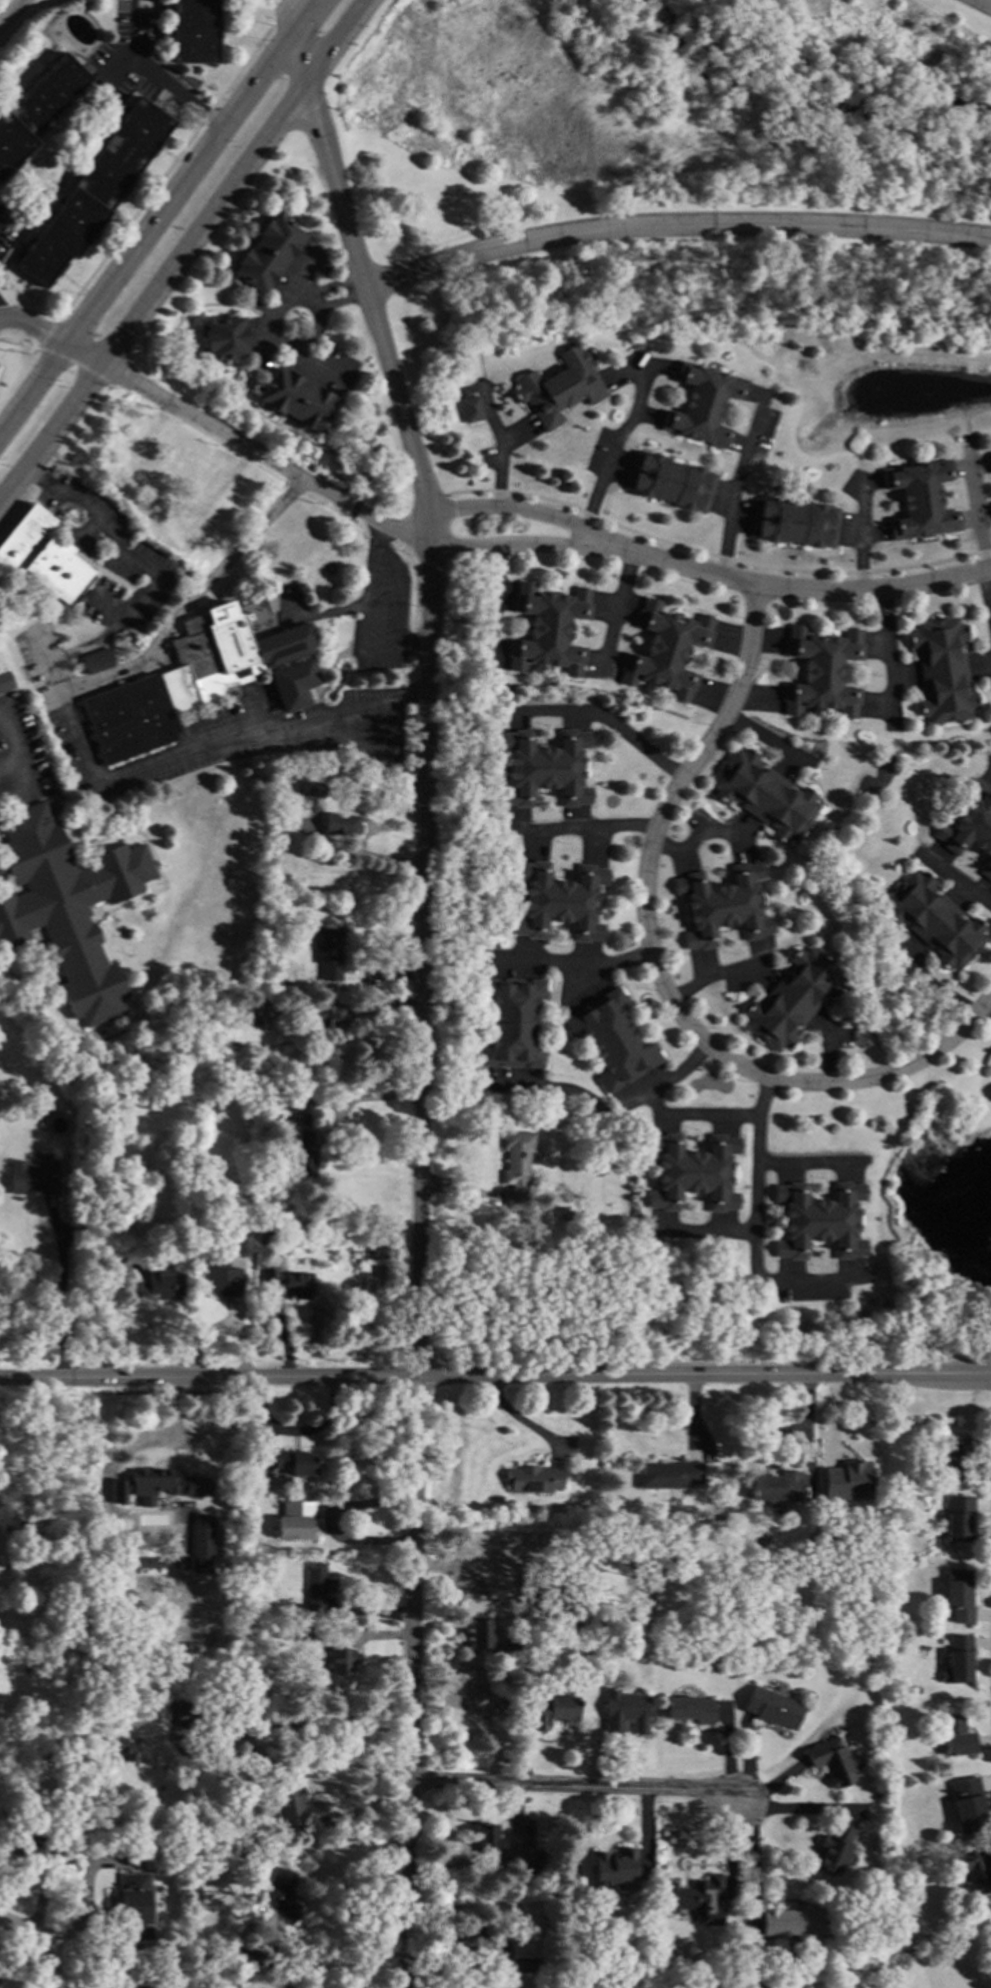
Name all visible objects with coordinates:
road: (983, 4)
road: (280, 10)
road: (12, 12)
road: (289, 12)
building: (193, 31)
road: (150, 74)
river: (792, 101)
building: (36, 108)
park: (663, 160)
road: (163, 171)
building: (93, 191)
road: (155, 213)
road: (673, 229)
building: (266, 252)
road: (187, 253)
road: (44, 333)
building: (224, 338)
road: (59, 358)
building: (558, 386)
building: (297, 399)
building: (702, 404)
building: (470, 408)
road: (499, 445)
road: (254, 450)
road: (612, 450)
building: (990, 459)
building: (153, 474)
building: (669, 481)
building: (119, 486)
road: (736, 486)
building: (192, 490)
building: (919, 499)
road: (501, 507)
road: (977, 512)
building: (793, 522)
building: (178, 533)
road: (862, 535)
road: (501, 545)
building: (40, 555)
building: (198, 565)
road: (783, 584)
road: (987, 586)
road: (379, 589)
road: (189, 600)
road: (617, 610)
building: (548, 629)
building: (666, 650)
road: (883, 654)
building: (97, 660)
building: (942, 669)
building: (821, 671)
building: (203, 676)
building: (5, 681)
road: (603, 722)
road: (75, 731)
road: (17, 749)
building: (543, 767)
building: (312, 789)
building: (763, 795)
building: (341, 824)
building: (971, 826)
road: (582, 830)
road: (952, 878)
building: (559, 901)
building: (66, 905)
building: (722, 905)
building: (932, 920)
building: (328, 952)
road: (587, 959)
road: (655, 976)
road: (712, 978)
road: (928, 984)
building: (281, 986)
road: (418, 997)
building: (791, 999)
building: (239, 1015)
building: (322, 1015)
building: (511, 1022)
building: (611, 1039)
road: (827, 1050)
building: (990, 1057)
building: (990, 1070)
road: (572, 1092)
building: (268, 1097)
road: (759, 1101)
road: (751, 1147)
building: (304, 1158)
building: (517, 1166)
road: (801, 1169)
building: (692, 1172)
building: (31, 1176)
building: (261, 1190)
building: (567, 1213)
building: (818, 1220)
building: (80, 1229)
building: (221, 1277)
building: (288, 1282)
building: (156, 1285)
road: (62, 1294)
road: (703, 1376)
road: (207, 1379)
road: (519, 1420)
building: (955, 1460)
building: (294, 1461)
building: (668, 1475)
building: (532, 1478)
building: (262, 1481)
building: (845, 1482)
building: (156, 1484)
building: (774, 1488)
building: (957, 1518)
building: (725, 1519)
building: (294, 1521)
road: (330, 1523)
building: (8, 1524)
building: (254, 1538)
building: (201, 1539)
building: (564, 1542)
building: (651, 1543)
building: (64, 1544)
building: (151, 1562)
building: (76, 1572)
building: (533, 1583)
building: (475, 1585)
building: (153, 1589)
building: (315, 1590)
building: (547, 1594)
building: (957, 1595)
building: (307, 1634)
building: (479, 1634)
building: (811, 1639)
building: (509, 1652)
building: (77, 1658)
building: (957, 1659)
building: (340, 1660)
building: (771, 1707)
building: (179, 1709)
building: (549, 1709)
building: (689, 1709)
building: (624, 1710)
building: (954, 1735)
road: (239, 1739)
building: (127, 1750)
building: (829, 1761)
building: (73, 1769)
road: (574, 1786)
building: (294, 1805)
building: (966, 1805)
road: (791, 1811)
building: (486, 1836)
building: (56, 1844)
building: (28, 1847)
building: (832, 1848)
road: (752, 1858)
building: (535, 1863)
building: (614, 1868)
building: (975, 1868)
building: (280, 1896)
building: (695, 1899)
building: (134, 1905)
building: (792, 1923)
road: (26, 1937)
building: (469, 1945)
building: (237, 1957)
building: (526, 1964)
road: (52, 1968)
road: (336, 1972)
building: (537, 1979)
building: (226, 1985)

